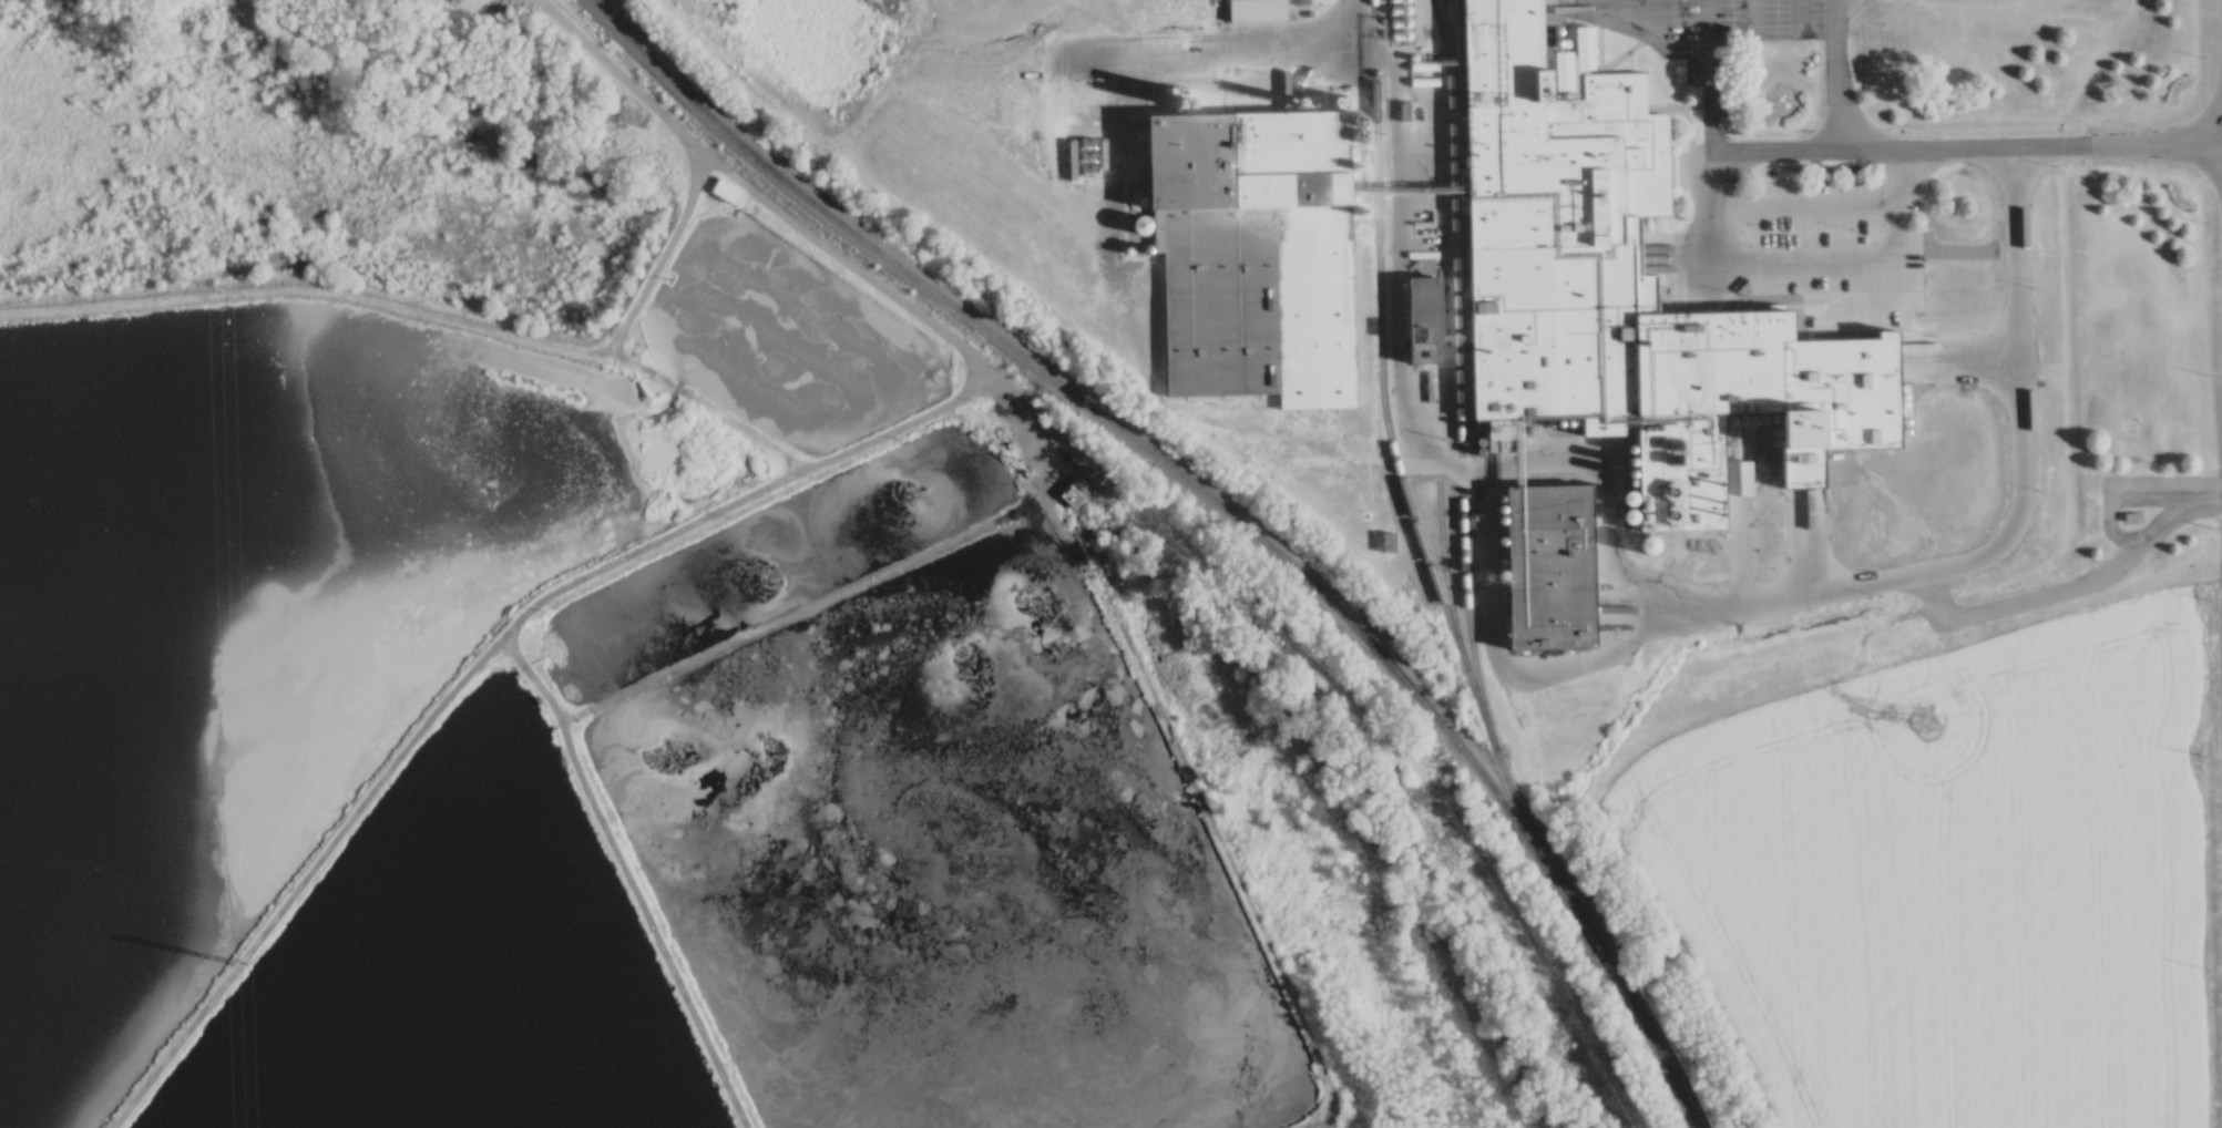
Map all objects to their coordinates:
building: (1255, 9)
road: (1232, 71)
road: (1834, 74)
street lamp: (2146, 121)
street lamp: (1936, 130)
street lamp: (1730, 134)
road: (1887, 148)
building: (721, 189)
road: (1803, 203)
building: (2164, 204)
building: (1581, 250)
building: (1252, 253)
road: (1749, 263)
power tower: (233, 277)
road: (308, 288)
building: (1422, 317)
road: (1844, 341)
road: (611, 349)
railway: (1460, 372)
road: (1401, 378)
railway: (1396, 470)
building: (1078, 485)
road: (1034, 494)
railway: (1215, 500)
building: (2130, 515)
building: (1548, 566)
railway: (1446, 575)
road: (798, 611)
road: (1653, 625)
road: (477, 655)
power tower: (1926, 717)
road: (625, 873)
power tower: (260, 953)

